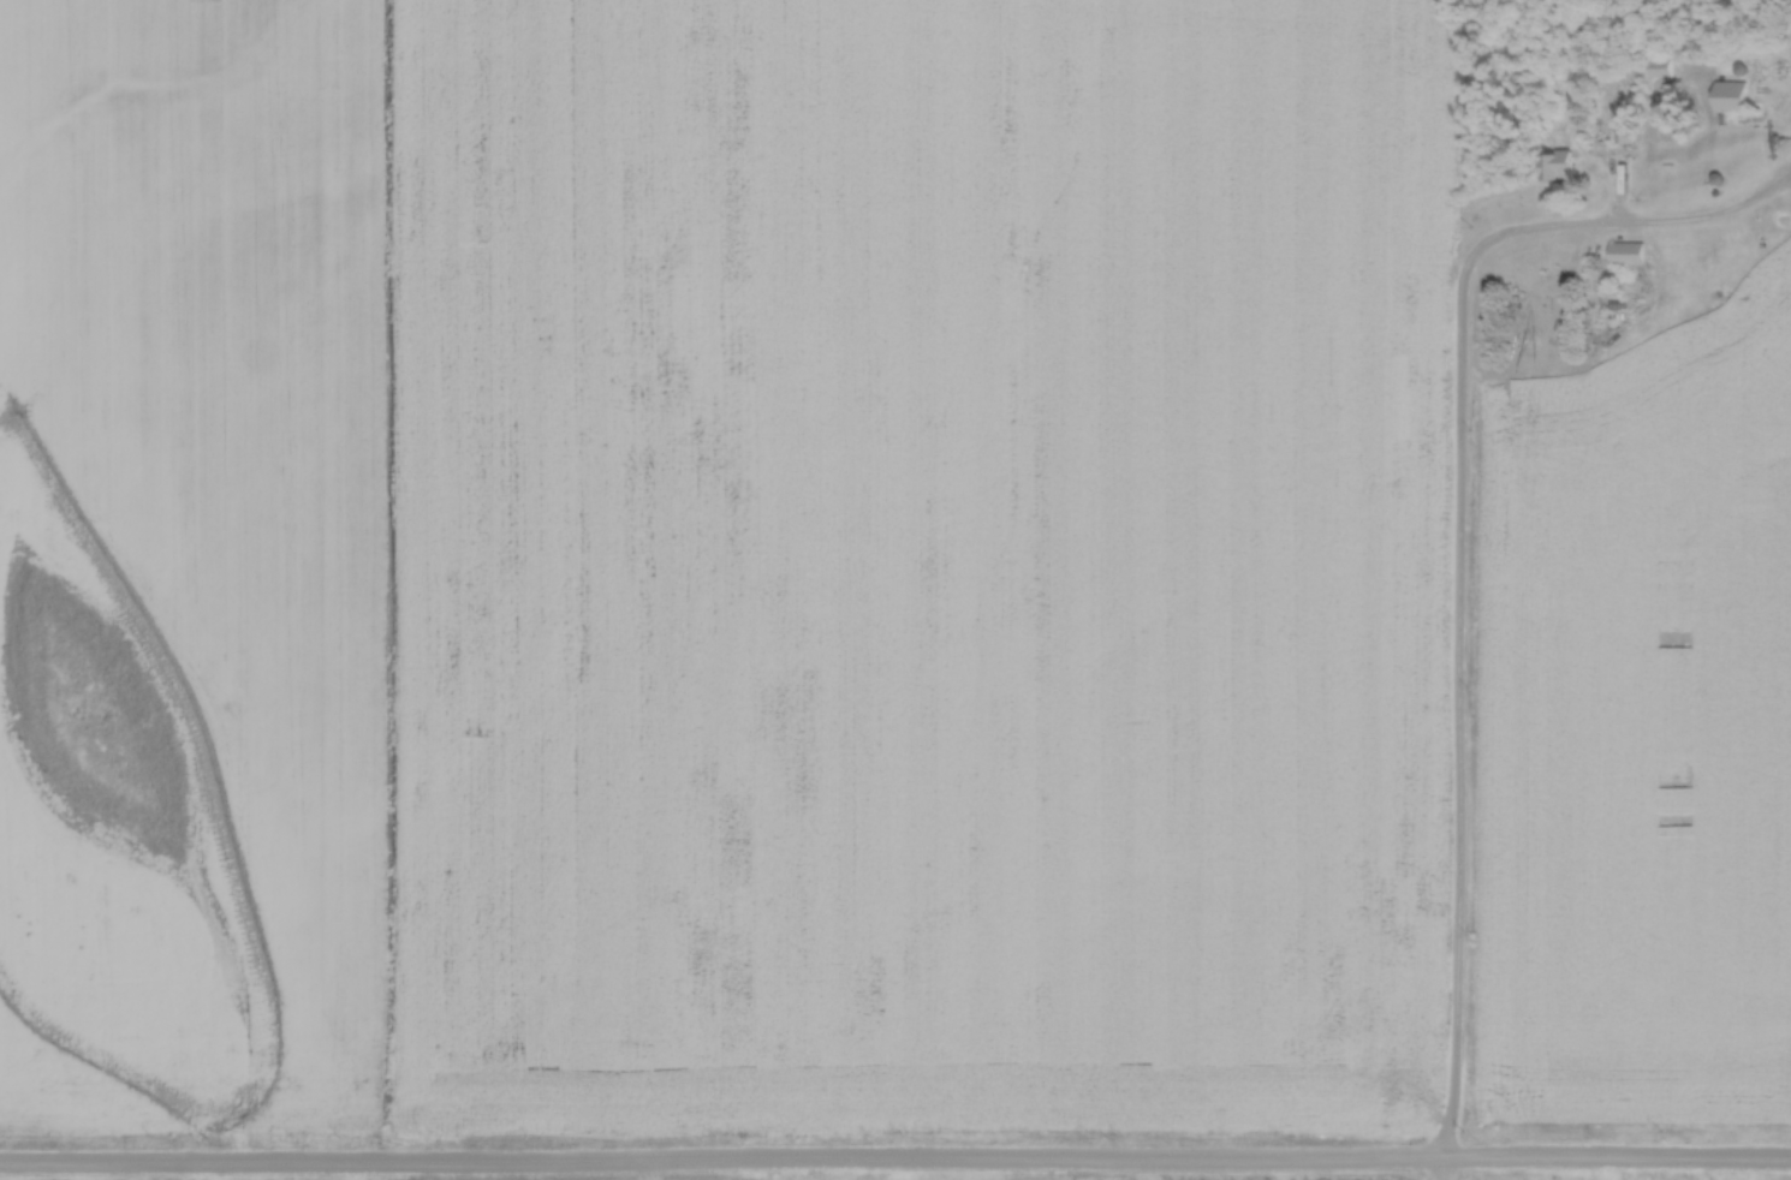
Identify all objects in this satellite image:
building: (1558, 163)
building: (1625, 251)
road: (1465, 612)
road: (895, 1168)
road: (1451, 1172)

